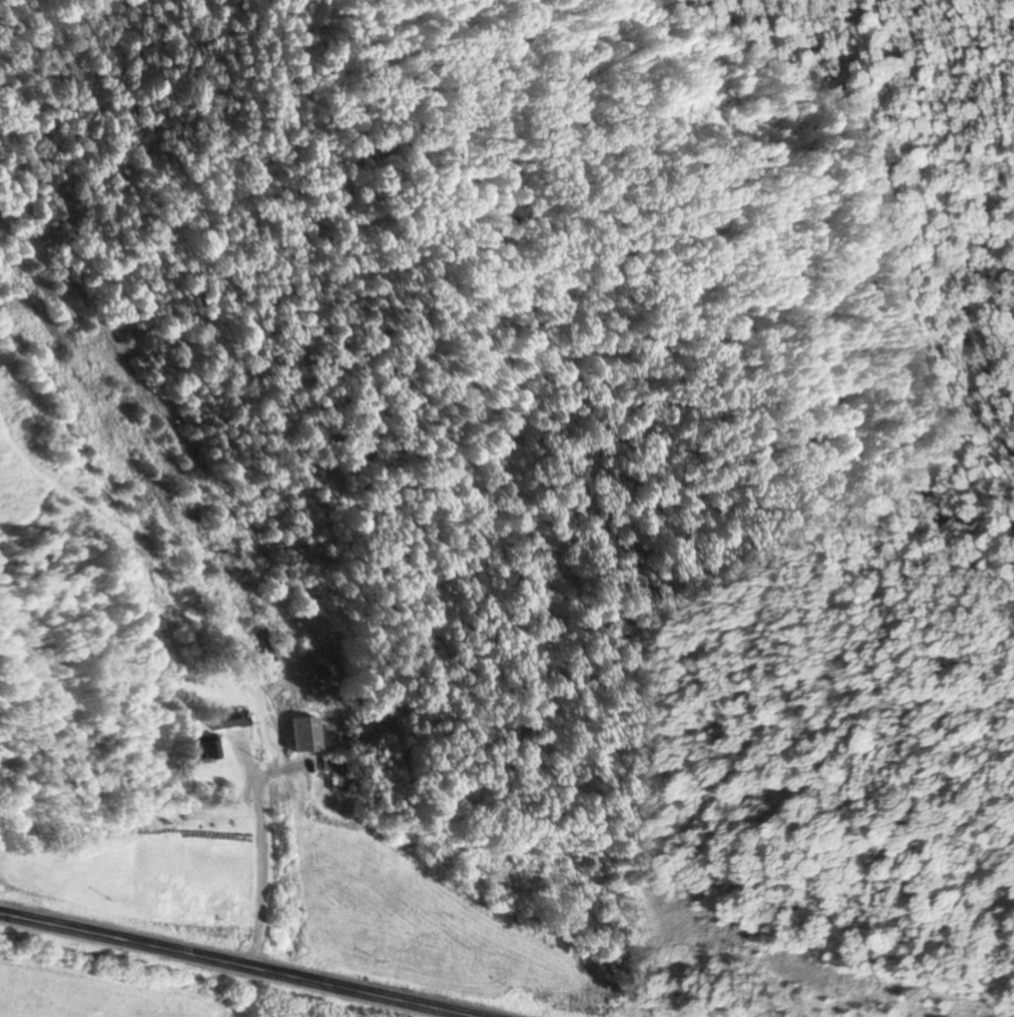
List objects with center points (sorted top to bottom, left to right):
building: (265, 646)
building: (222, 719)
building: (298, 733)
building: (195, 746)
building: (331, 771)
road: (225, 965)

